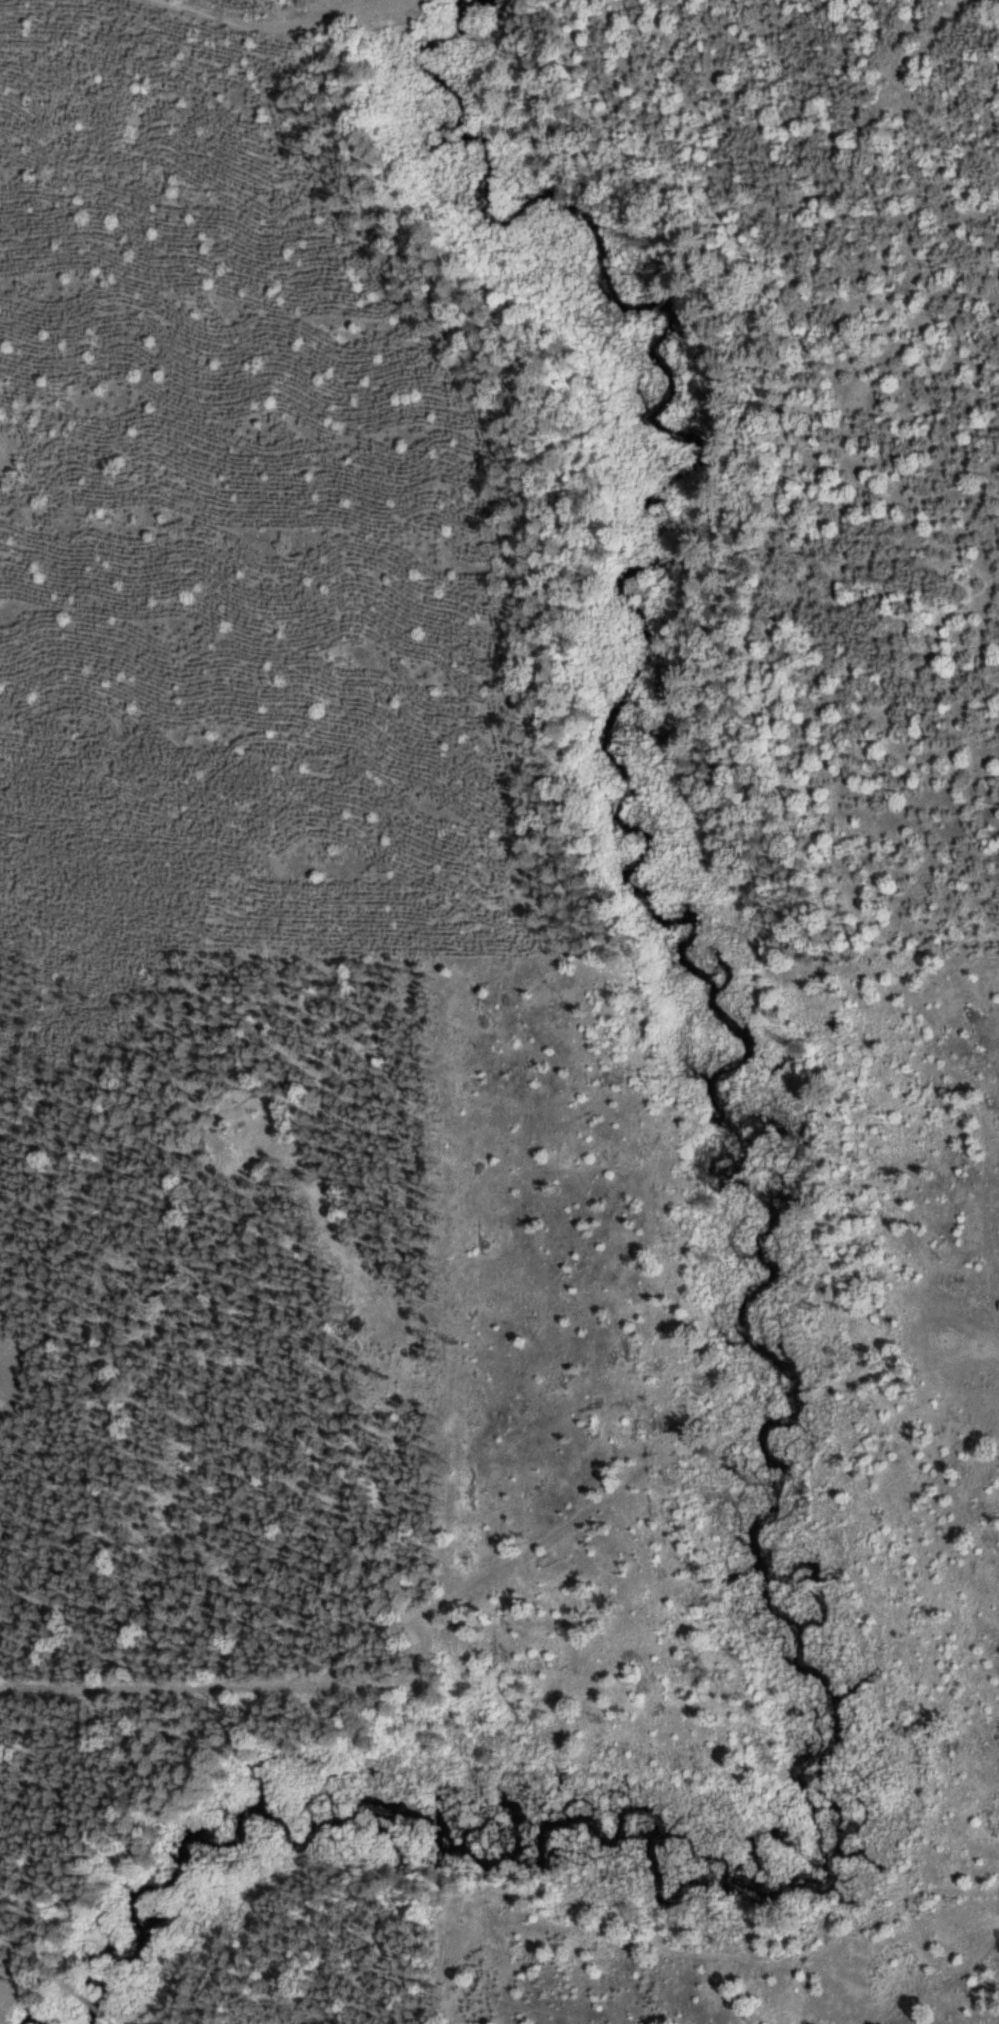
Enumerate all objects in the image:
road: (253, 22)
road: (978, 1363)
road: (91, 1695)
road: (422, 2013)

